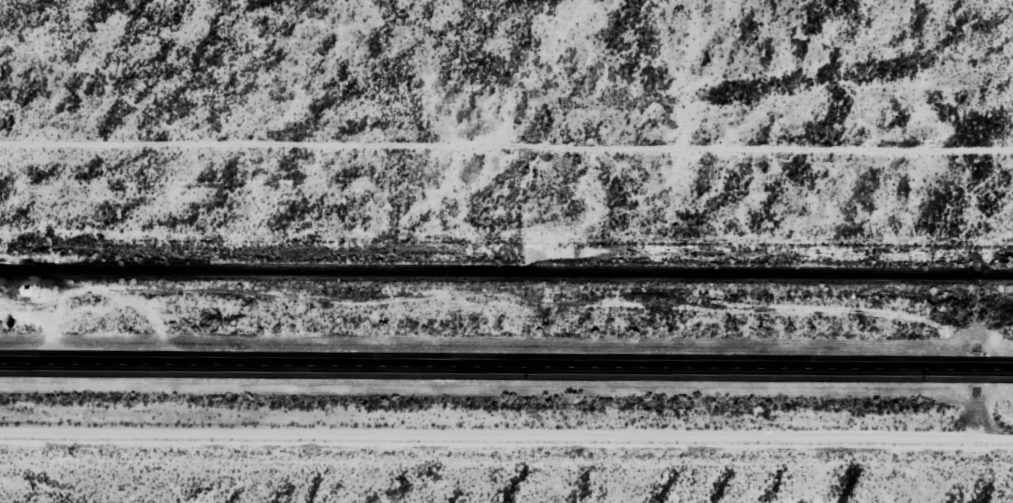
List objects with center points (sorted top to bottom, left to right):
railway: (20, 268)
railway: (506, 273)
road: (506, 363)

